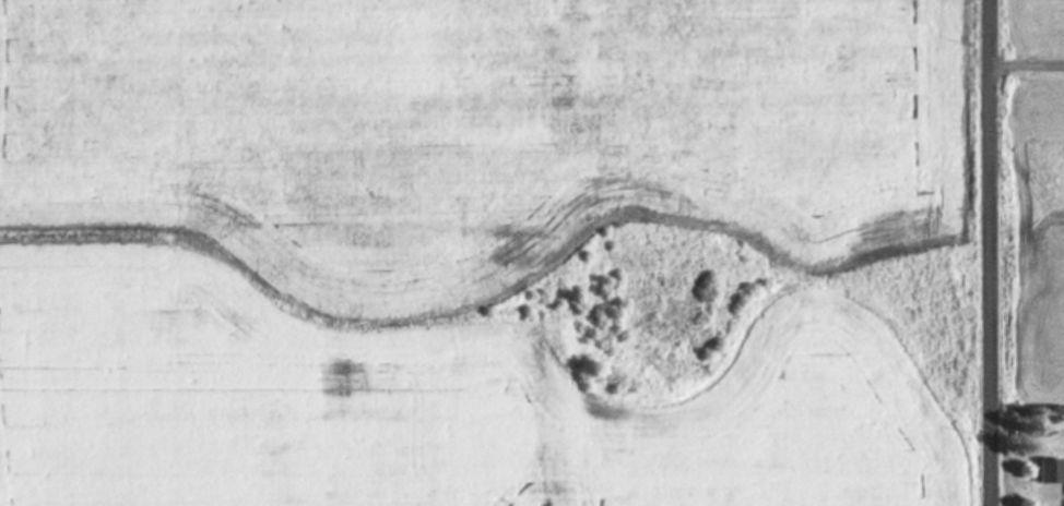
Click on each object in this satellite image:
road: (997, 253)

